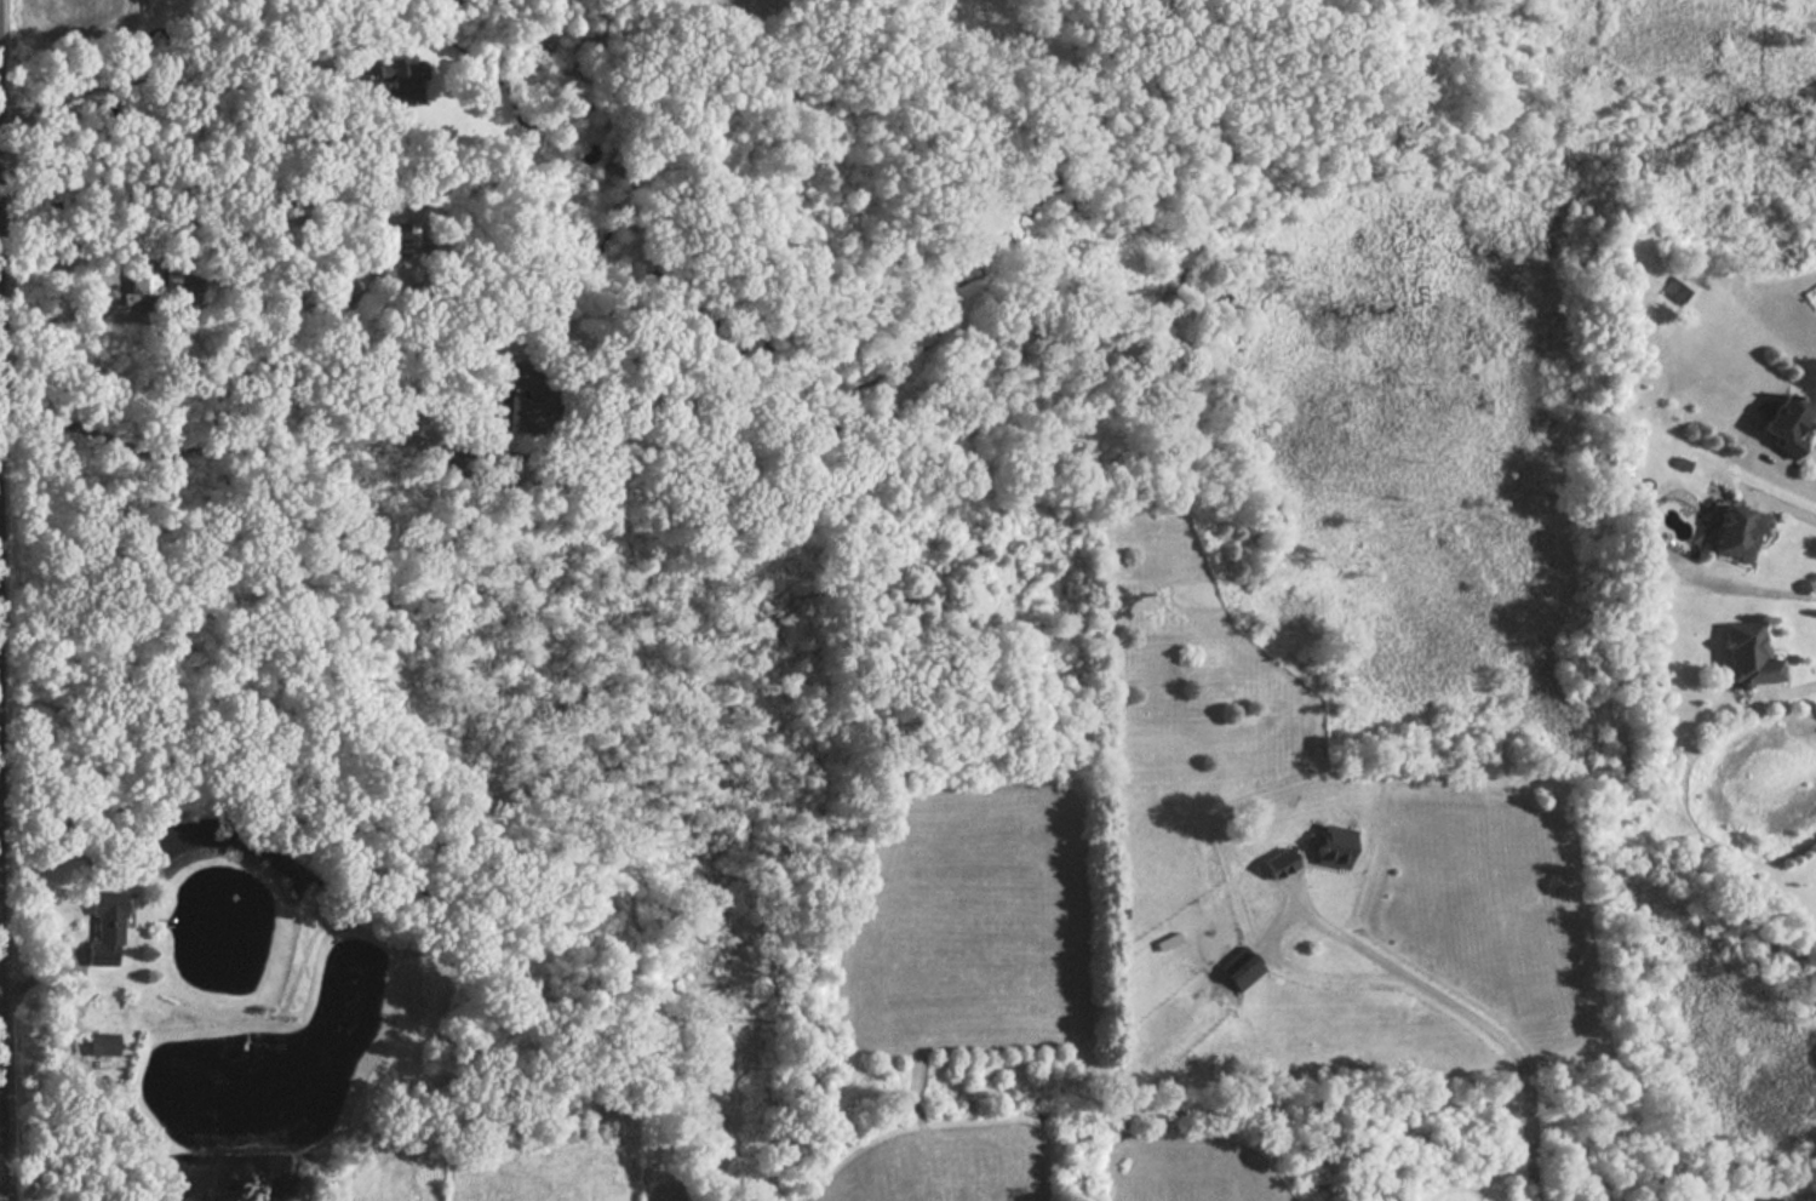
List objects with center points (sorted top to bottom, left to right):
road: (153, 81)
building: (157, 279)
road: (231, 311)
building: (1782, 425)
road: (246, 447)
road: (1783, 509)
building: (1730, 534)
building: (1743, 657)
building: (1327, 850)
building: (1272, 862)
building: (101, 930)
building: (1236, 971)
road: (1455, 1025)

